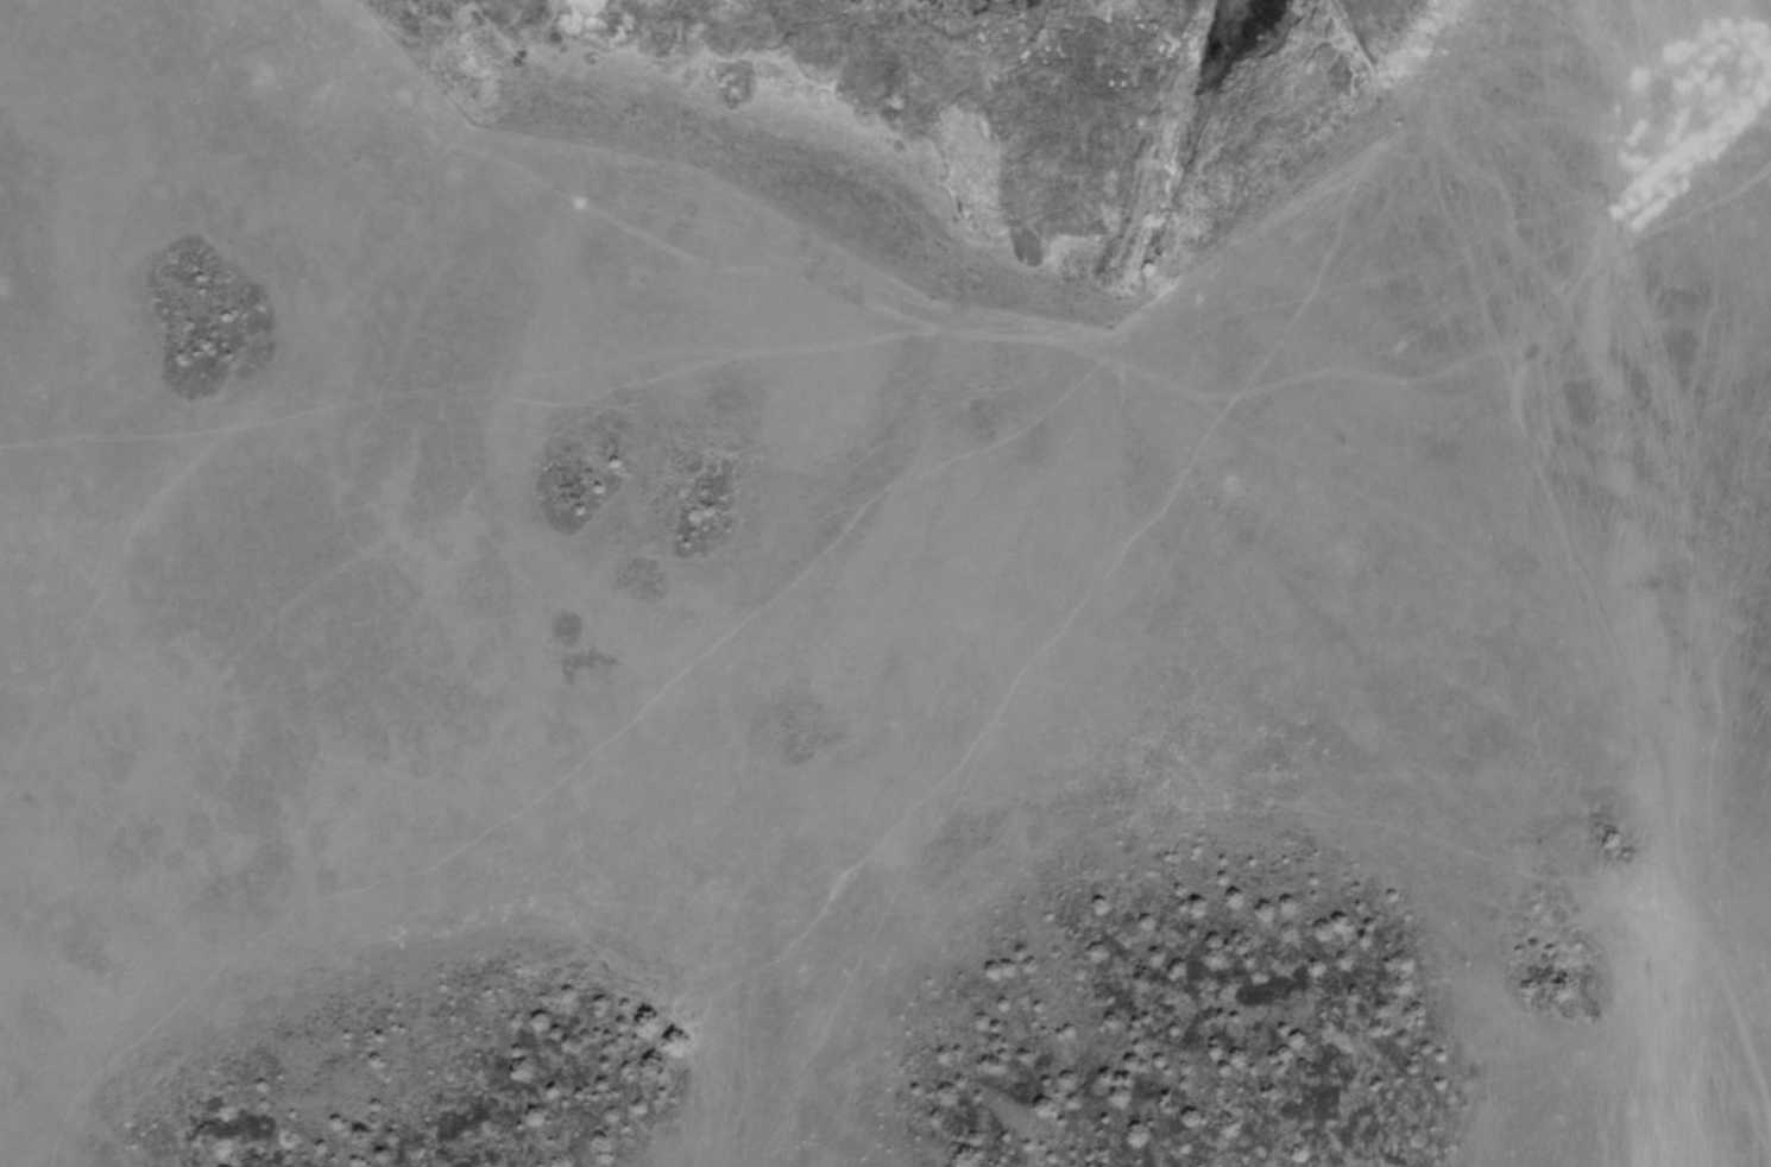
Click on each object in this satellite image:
road: (1587, 586)

